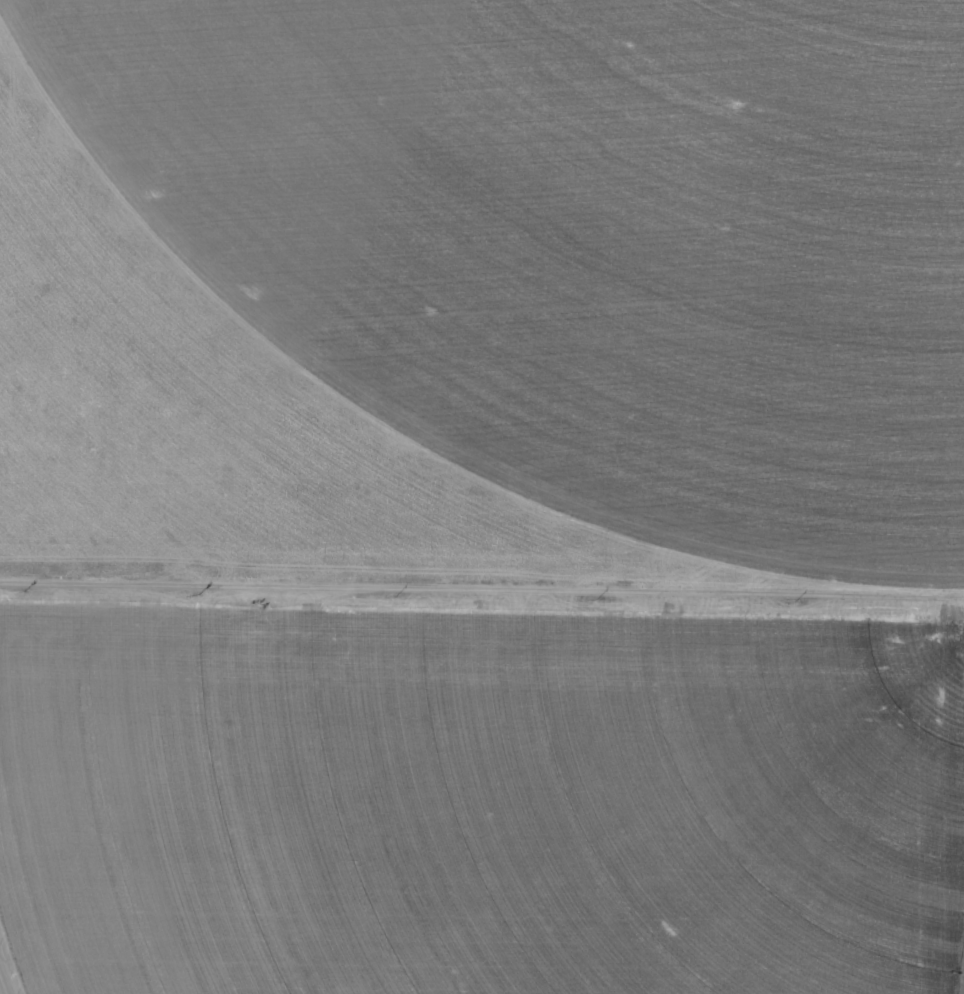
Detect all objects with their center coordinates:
road: (482, 589)

